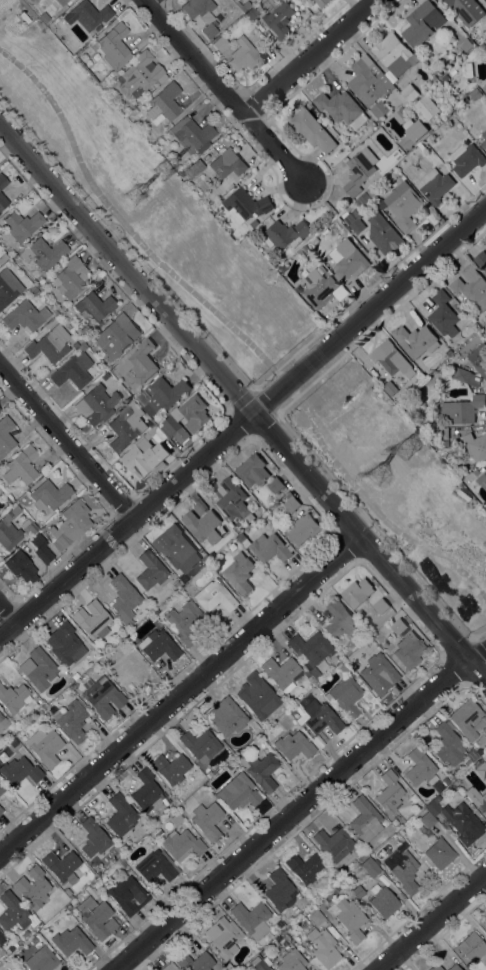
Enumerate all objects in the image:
building: (60, 1)
building: (65, 1)
road: (147, 1)
building: (321, 3)
building: (244, 5)
building: (466, 11)
building: (252, 13)
building: (87, 14)
building: (201, 14)
building: (280, 20)
building: (419, 24)
building: (101, 27)
building: (221, 43)
building: (464, 44)
building: (114, 46)
building: (455, 49)
building: (243, 54)
building: (394, 55)
road: (308, 56)
building: (140, 74)
building: (444, 78)
building: (369, 82)
building: (484, 87)
road: (226, 92)
building: (410, 93)
building: (475, 94)
building: (165, 102)
building: (427, 108)
building: (342, 109)
building: (135, 111)
building: (401, 116)
building: (312, 131)
building: (413, 134)
building: (192, 135)
building: (484, 141)
building: (333, 158)
building: (467, 159)
building: (227, 164)
building: (192, 169)
power tower: (167, 170)
building: (360, 170)
building: (3, 181)
building: (435, 186)
building: (372, 191)
power tower: (136, 197)
building: (364, 199)
building: (3, 202)
building: (246, 206)
building: (403, 206)
building: (354, 222)
building: (22, 225)
road: (127, 226)
building: (285, 235)
building: (383, 235)
building: (315, 241)
building: (305, 247)
building: (44, 252)
building: (267, 256)
building: (3, 258)
building: (481, 259)
building: (348, 261)
building: (275, 264)
building: (485, 271)
building: (71, 277)
building: (317, 283)
building: (471, 289)
building: (34, 290)
building: (7, 292)
building: (95, 305)
building: (460, 310)
building: (443, 315)
building: (25, 316)
building: (116, 336)
building: (416, 341)
building: (50, 344)
building: (75, 345)
building: (82, 347)
building: (448, 353)
building: (391, 359)
building: (479, 359)
building: (142, 362)
building: (72, 371)
building: (465, 376)
road: (311, 382)
building: (390, 389)
road: (233, 392)
building: (161, 396)
building: (97, 404)
building: (462, 410)
building: (187, 419)
road: (242, 421)
building: (151, 423)
building: (126, 427)
building: (440, 434)
building: (5, 435)
building: (152, 437)
road: (67, 440)
building: (445, 443)
power tower: (410, 446)
building: (476, 446)
building: (145, 458)
building: (22, 465)
building: (253, 471)
building: (476, 472)
power tower: (379, 473)
building: (482, 481)
building: (275, 485)
building: (50, 495)
building: (233, 500)
building: (291, 503)
road: (372, 506)
building: (17, 508)
building: (72, 523)
building: (203, 526)
building: (29, 527)
building: (304, 529)
building: (9, 535)
building: (243, 540)
building: (41, 547)
building: (174, 548)
building: (271, 548)
building: (21, 566)
building: (150, 570)
building: (239, 573)
building: (176, 583)
building: (184, 588)
building: (357, 593)
building: (214, 596)
building: (124, 598)
building: (381, 606)
road: (8, 612)
building: (372, 612)
building: (92, 620)
building: (339, 620)
building: (184, 621)
building: (399, 626)
road: (480, 633)
building: (65, 644)
building: (158, 645)
building: (312, 650)
building: (409, 650)
building: (101, 661)
building: (128, 668)
building: (343, 668)
building: (41, 669)
road: (477, 670)
building: (283, 673)
building: (379, 673)
road: (179, 695)
building: (257, 695)
building: (346, 696)
building: (14, 697)
building: (103, 697)
building: (292, 710)
building: (0, 712)
building: (227, 716)
building: (321, 717)
building: (466, 717)
building: (72, 720)
building: (3, 722)
building: (255, 727)
building: (484, 730)
building: (201, 744)
building: (294, 745)
building: (451, 745)
building: (45, 746)
building: (485, 762)
building: (230, 765)
building: (420, 767)
building: (171, 768)
building: (480, 768)
building: (20, 770)
building: (261, 770)
building: (446, 780)
building: (2, 788)
building: (238, 791)
building: (147, 792)
building: (389, 792)
building: (477, 798)
road: (298, 807)
building: (1, 809)
building: (121, 815)
building: (176, 818)
building: (365, 819)
building: (207, 820)
building: (427, 820)
building: (458, 820)
building: (424, 830)
building: (158, 833)
building: (94, 838)
building: (334, 843)
building: (182, 844)
building: (125, 847)
building: (440, 853)
building: (363, 854)
building: (62, 866)
building: (155, 866)
building: (370, 866)
building: (305, 867)
building: (403, 870)
building: (33, 887)
building: (67, 891)
building: (280, 891)
building: (358, 891)
building: (128, 895)
building: (383, 900)
building: (14, 912)
building: (314, 916)
building: (97, 917)
building: (348, 918)
building: (251, 919)
building: (130, 921)
road: (431, 921)
building: (484, 922)
building: (304, 924)
building: (223, 937)
building: (1, 940)
building: (72, 941)
building: (471, 946)
building: (324, 947)
building: (42, 959)
building: (292, 961)
building: (196, 962)
building: (258, 964)
building: (169, 967)
building: (436, 967)
building: (454, 967)
building: (3, 969)

